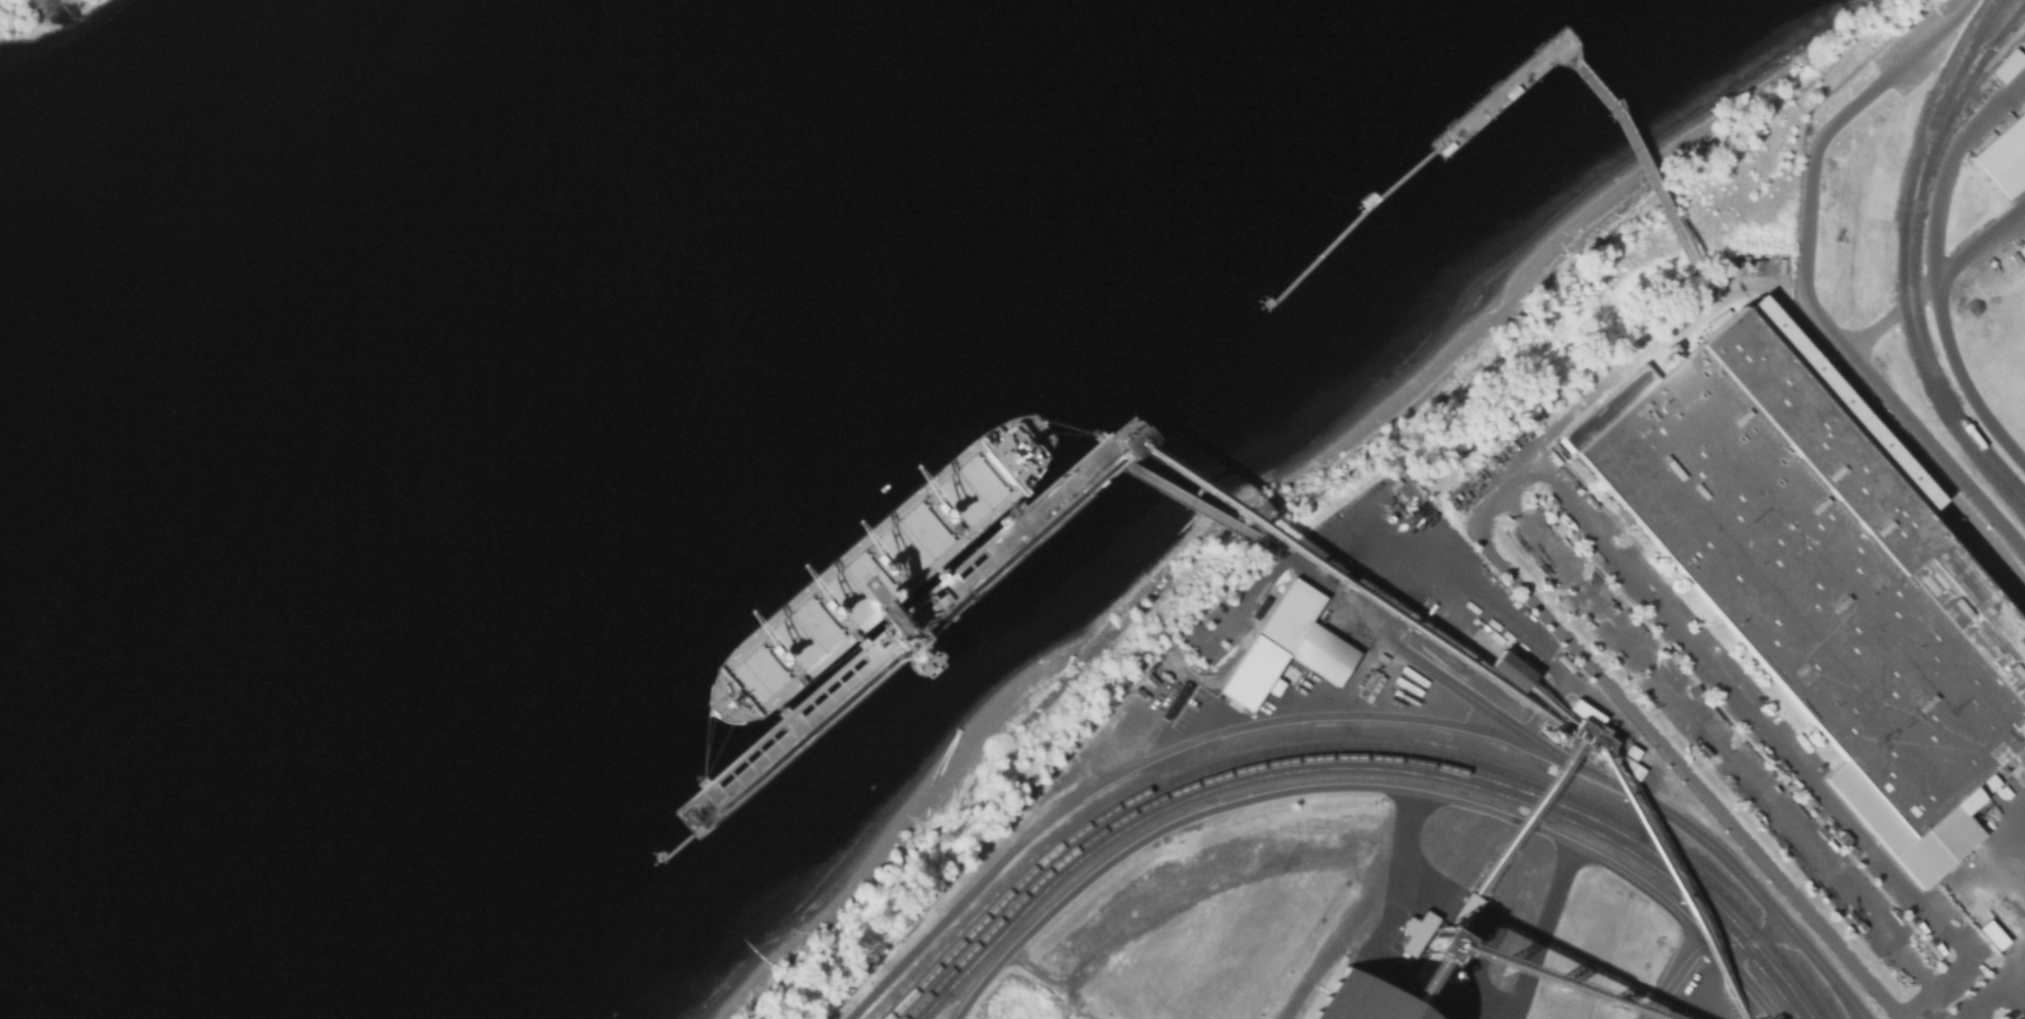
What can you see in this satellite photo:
railway: (1990, 21)
railway: (1997, 32)
building: (2024, 33)
building: (2007, 65)
railway: (1985, 68)
railway: (1931, 96)
building: (2001, 149)
road: (1948, 157)
pier: (1346, 226)
pier: (1673, 246)
building: (2022, 247)
railway: (1912, 251)
railway: (1901, 265)
road: (1937, 275)
road: (1804, 289)
road: (1974, 369)
river: (504, 376)
building: (1539, 415)
road: (1518, 477)
railway: (1981, 558)
pier: (960, 580)
building: (1813, 586)
building: (1258, 605)
building: (1287, 648)
building: (1511, 669)
building: (1274, 685)
building: (1586, 712)
building: (1587, 739)
road: (1721, 743)
road: (1777, 743)
railway: (1357, 744)
railway: (1361, 757)
road: (1138, 766)
railway: (1358, 766)
building: (1628, 767)
road: (1617, 787)
road: (1364, 789)
building: (1449, 930)
road: (2022, 932)
building: (1995, 935)
road: (2014, 966)
road: (1670, 975)
building: (1363, 1000)

